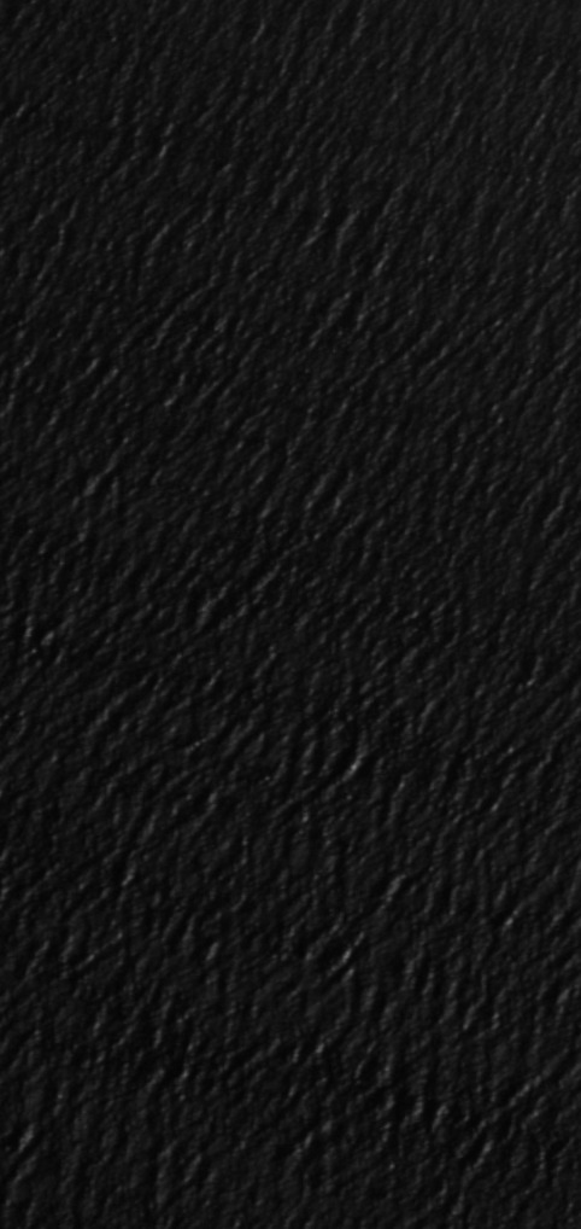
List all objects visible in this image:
river: (290, 962)

